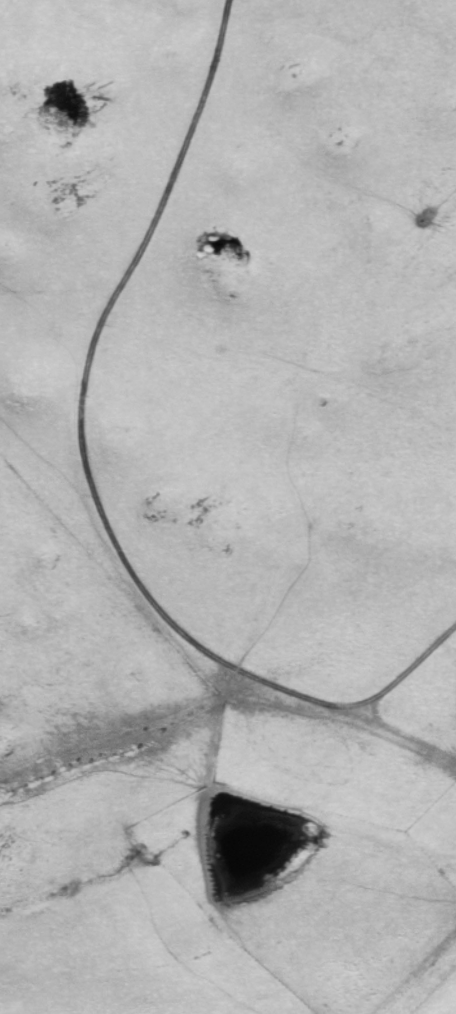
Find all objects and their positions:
road: (90, 475)

